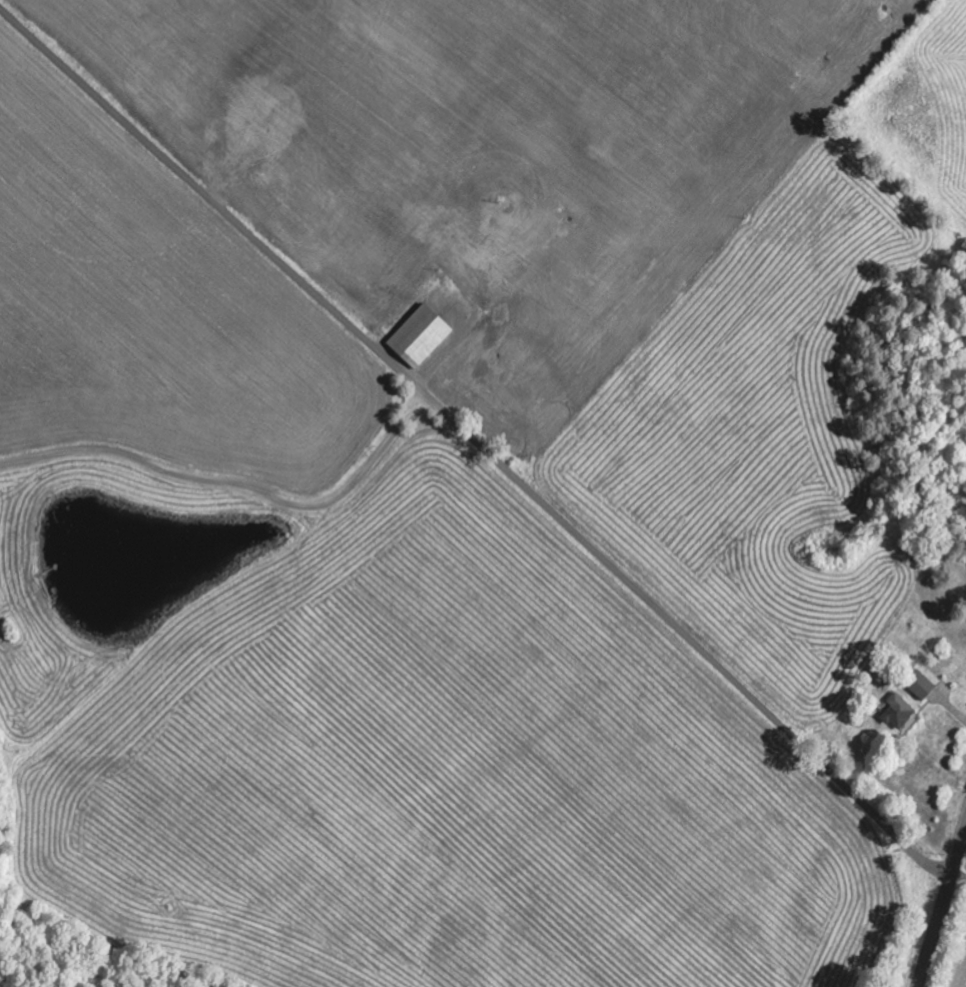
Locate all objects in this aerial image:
building: (421, 335)
road: (474, 446)
road: (232, 483)
building: (921, 684)
building: (901, 713)
road: (941, 907)

